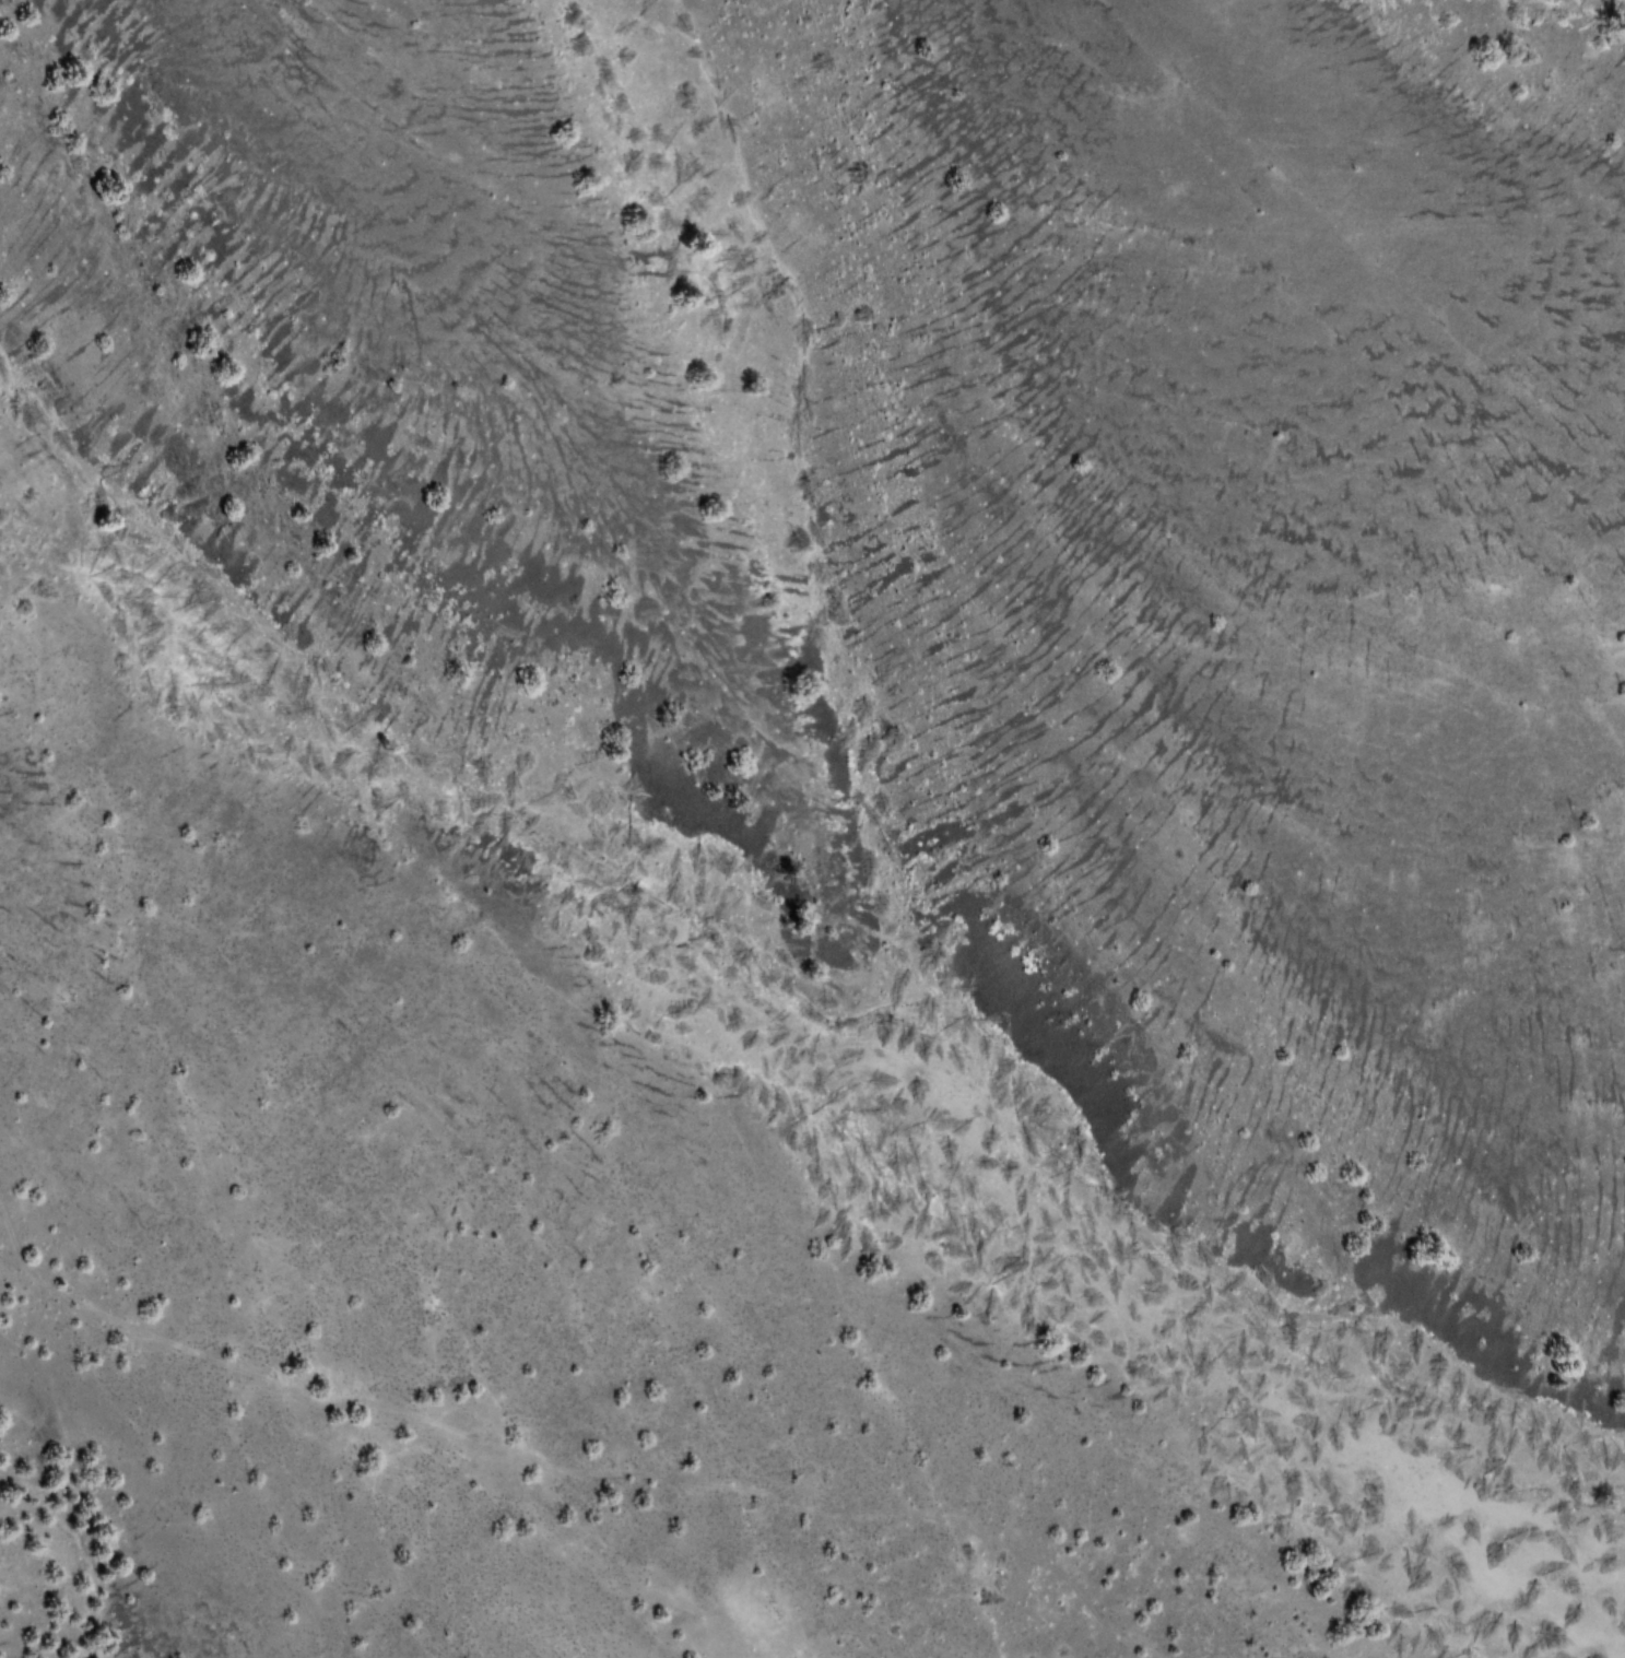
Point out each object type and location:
road: (576, 1466)

